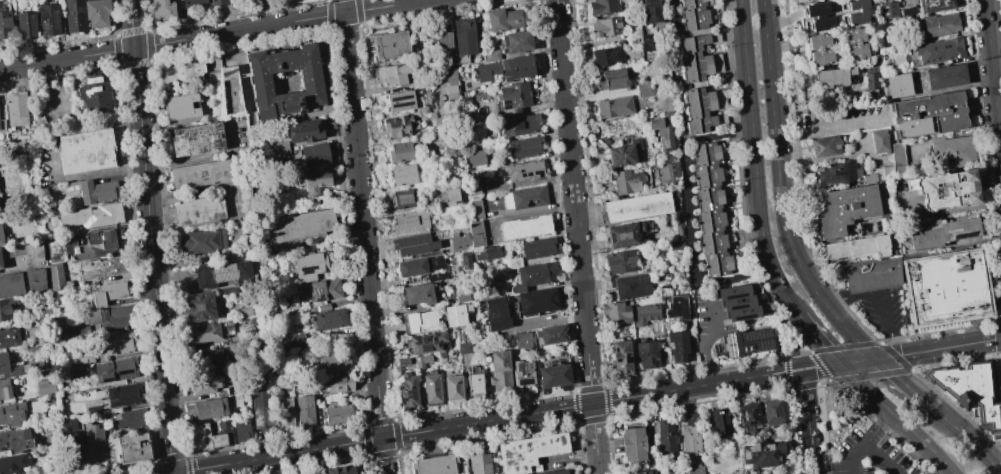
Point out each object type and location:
building: (217, 2)
building: (192, 3)
building: (601, 6)
building: (934, 7)
building: (162, 10)
building: (888, 10)
building: (650, 11)
building: (96, 13)
building: (908, 13)
road: (676, 14)
building: (693, 14)
building: (834, 14)
rooftop solar panel: (54, 15)
building: (73, 15)
building: (502, 19)
building: (47, 20)
building: (4, 21)
rooftop solar panel: (46, 23)
rooftop solar panel: (55, 23)
building: (25, 25)
building: (940, 26)
building: (605, 27)
road: (212, 35)
building: (463, 36)
building: (633, 37)
building: (515, 40)
building: (442, 41)
building: (644, 42)
building: (855, 42)
building: (389, 45)
building: (819, 48)
building: (939, 51)
building: (490, 55)
building: (607, 56)
building: (694, 58)
building: (515, 67)
building: (485, 71)
building: (182, 72)
building: (392, 74)
building: (870, 75)
building: (449, 76)
building: (944, 76)
building: (834, 77)
building: (610, 79)
building: (310, 81)
building: (898, 85)
road: (993, 87)
building: (227, 89)
building: (646, 89)
building: (450, 92)
building: (92, 93)
rooftop solar panel: (398, 97)
building: (512, 97)
building: (399, 101)
rooftop solar panel: (505, 103)
rooftop solar panel: (401, 106)
building: (179, 107)
building: (612, 107)
building: (698, 110)
building: (15, 111)
building: (927, 117)
parking lot: (845, 121)
building: (1, 124)
building: (398, 125)
building: (519, 125)
road: (838, 126)
road: (773, 127)
building: (303, 131)
building: (661, 133)
road: (799, 135)
road: (785, 138)
building: (196, 139)
building: (879, 143)
rooftop solar panel: (662, 145)
building: (521, 147)
building: (825, 147)
building: (85, 151)
building: (313, 152)
building: (398, 152)
building: (950, 152)
building: (623, 153)
building: (474, 157)
road: (754, 158)
building: (896, 158)
building: (524, 171)
building: (668, 173)
building: (836, 173)
building: (200, 174)
building: (403, 174)
building: (878, 174)
building: (627, 181)
building: (312, 182)
building: (472, 187)
building: (945, 190)
building: (92, 191)
building: (44, 193)
building: (450, 194)
building: (527, 196)
building: (242, 198)
building: (402, 198)
rooftop solar panel: (528, 202)
building: (637, 207)
building: (475, 209)
building: (710, 209)
building: (845, 210)
building: (198, 211)
building: (91, 216)
road: (690, 218)
building: (410, 220)
building: (298, 225)
building: (523, 226)
building: (939, 233)
building: (475, 234)
building: (621, 235)
rooftop solar panel: (961, 235)
road: (151, 236)
road: (577, 236)
road: (363, 237)
building: (0, 238)
building: (102, 239)
building: (201, 241)
building: (459, 241)
building: (413, 244)
building: (61, 246)
building: (857, 247)
building: (537, 248)
building: (24, 251)
building: (486, 254)
building: (465, 260)
building: (621, 262)
building: (309, 265)
building: (0, 266)
building: (419, 266)
building: (101, 267)
building: (222, 274)
building: (534, 275)
building: (872, 275)
building: (436, 276)
building: (54, 277)
building: (22, 281)
building: (630, 285)
building: (946, 287)
building: (323, 289)
building: (228, 290)
rooftop solar panel: (314, 291)
building: (434, 292)
building: (107, 293)
building: (417, 294)
rooftop solar panel: (319, 296)
building: (462, 297)
road: (831, 300)
road: (876, 300)
building: (537, 301)
building: (737, 302)
building: (199, 306)
building: (6, 307)
building: (322, 307)
building: (676, 307)
parking lot: (880, 309)
road: (829, 310)
building: (243, 311)
building: (615, 311)
building: (645, 313)
building: (454, 314)
building: (495, 314)
building: (108, 317)
building: (329, 319)
building: (420, 321)
road: (999, 321)
parking lot: (707, 323)
building: (204, 333)
rooftop solar panel: (762, 333)
building: (549, 335)
building: (8, 336)
rooftop solar panel: (748, 336)
road: (915, 336)
road: (817, 337)
rooftop solar panel: (728, 338)
road: (997, 338)
road: (708, 339)
building: (523, 340)
road: (793, 340)
building: (295, 341)
building: (427, 342)
building: (747, 342)
building: (116, 343)
road: (880, 344)
rooftop solar panel: (762, 345)
building: (677, 346)
building: (464, 347)
road: (897, 347)
rooftop solar panel: (730, 350)
building: (645, 354)
road: (901, 354)
road: (1000, 354)
building: (620, 357)
building: (441, 358)
building: (209, 359)
traffic signals: (877, 359)
building: (402, 360)
building: (333, 361)
building: (421, 361)
traffic signals: (840, 364)
road: (1000, 366)
building: (10, 367)
building: (114, 370)
building: (499, 371)
building: (522, 373)
building: (553, 375)
building: (337, 383)
building: (474, 383)
road: (905, 383)
building: (205, 384)
building: (452, 386)
building: (45, 388)
rooftop solar panel: (412, 388)
building: (430, 388)
building: (4, 389)
building: (407, 390)
building: (972, 391)
rooftop solar panel: (408, 392)
building: (122, 395)
building: (260, 399)
road: (997, 401)
road: (982, 402)
building: (206, 409)
building: (304, 410)
building: (771, 410)
building: (11, 413)
building: (283, 414)
building: (339, 414)
building: (747, 414)
building: (130, 418)
road: (897, 418)
road: (966, 418)
building: (719, 420)
road: (486, 421)
road: (807, 421)
building: (68, 424)
building: (240, 429)
building: (197, 436)
building: (665, 437)
building: (690, 439)
road: (969, 439)
building: (15, 440)
building: (218, 440)
road: (867, 440)
building: (93, 442)
building: (632, 443)
building: (130, 449)
building: (528, 451)
building: (761, 453)
parking lot: (874, 455)
road: (881, 459)
building: (12, 463)
building: (479, 463)
building: (435, 465)
building: (692, 469)
building: (341, 470)
road: (997, 470)
building: (554, 472)
building: (640, 472)
road: (833, 472)
traffic signals: (172, 473)

